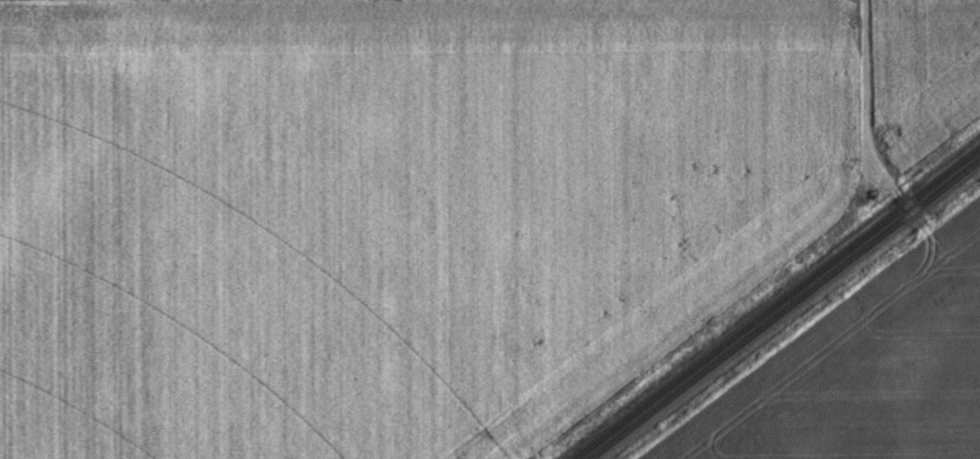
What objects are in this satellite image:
railway: (778, 305)
railway: (786, 310)

